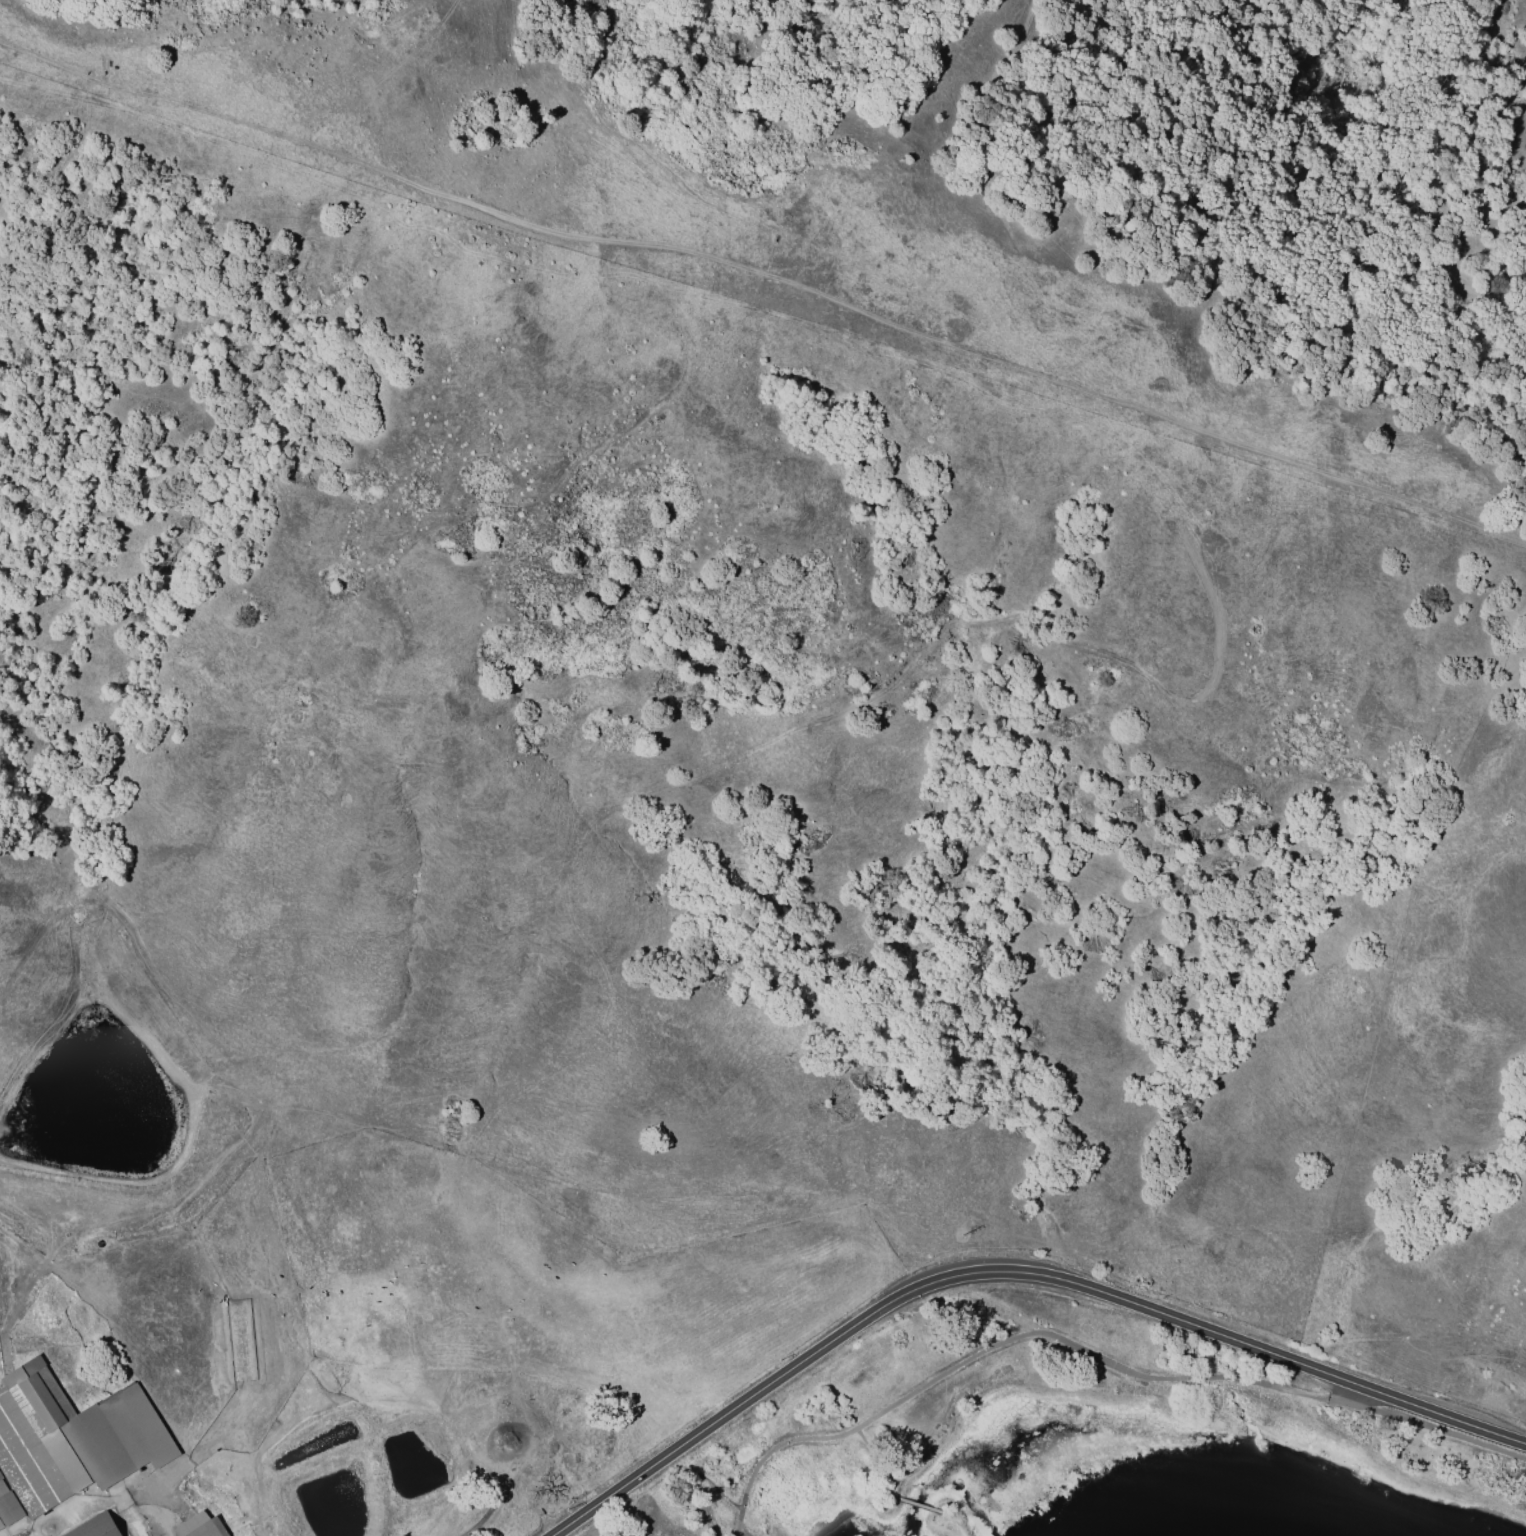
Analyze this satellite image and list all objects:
road: (1017, 1272)
road: (1014, 1338)
building: (68, 1439)
building: (199, 1526)
building: (94, 1527)

